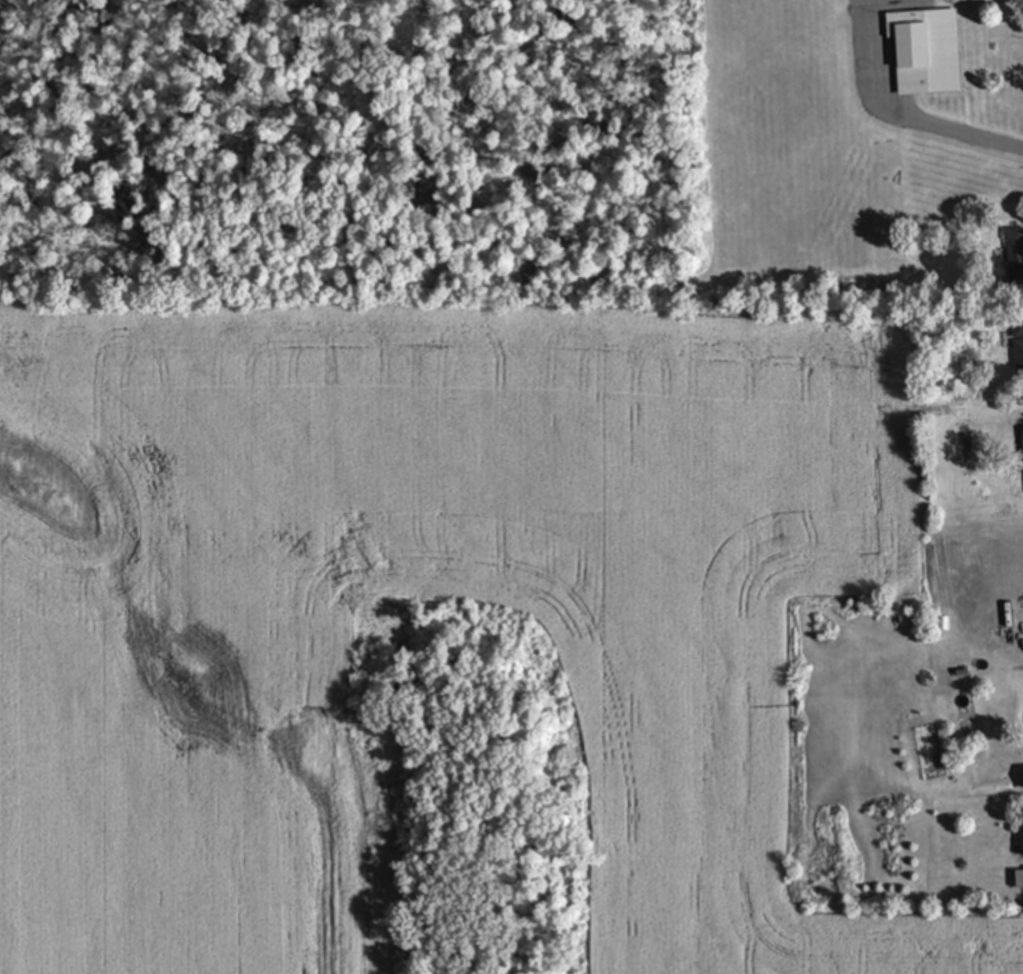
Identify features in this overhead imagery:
building: (927, 51)
road: (903, 113)
building: (1014, 242)
building: (1018, 348)

